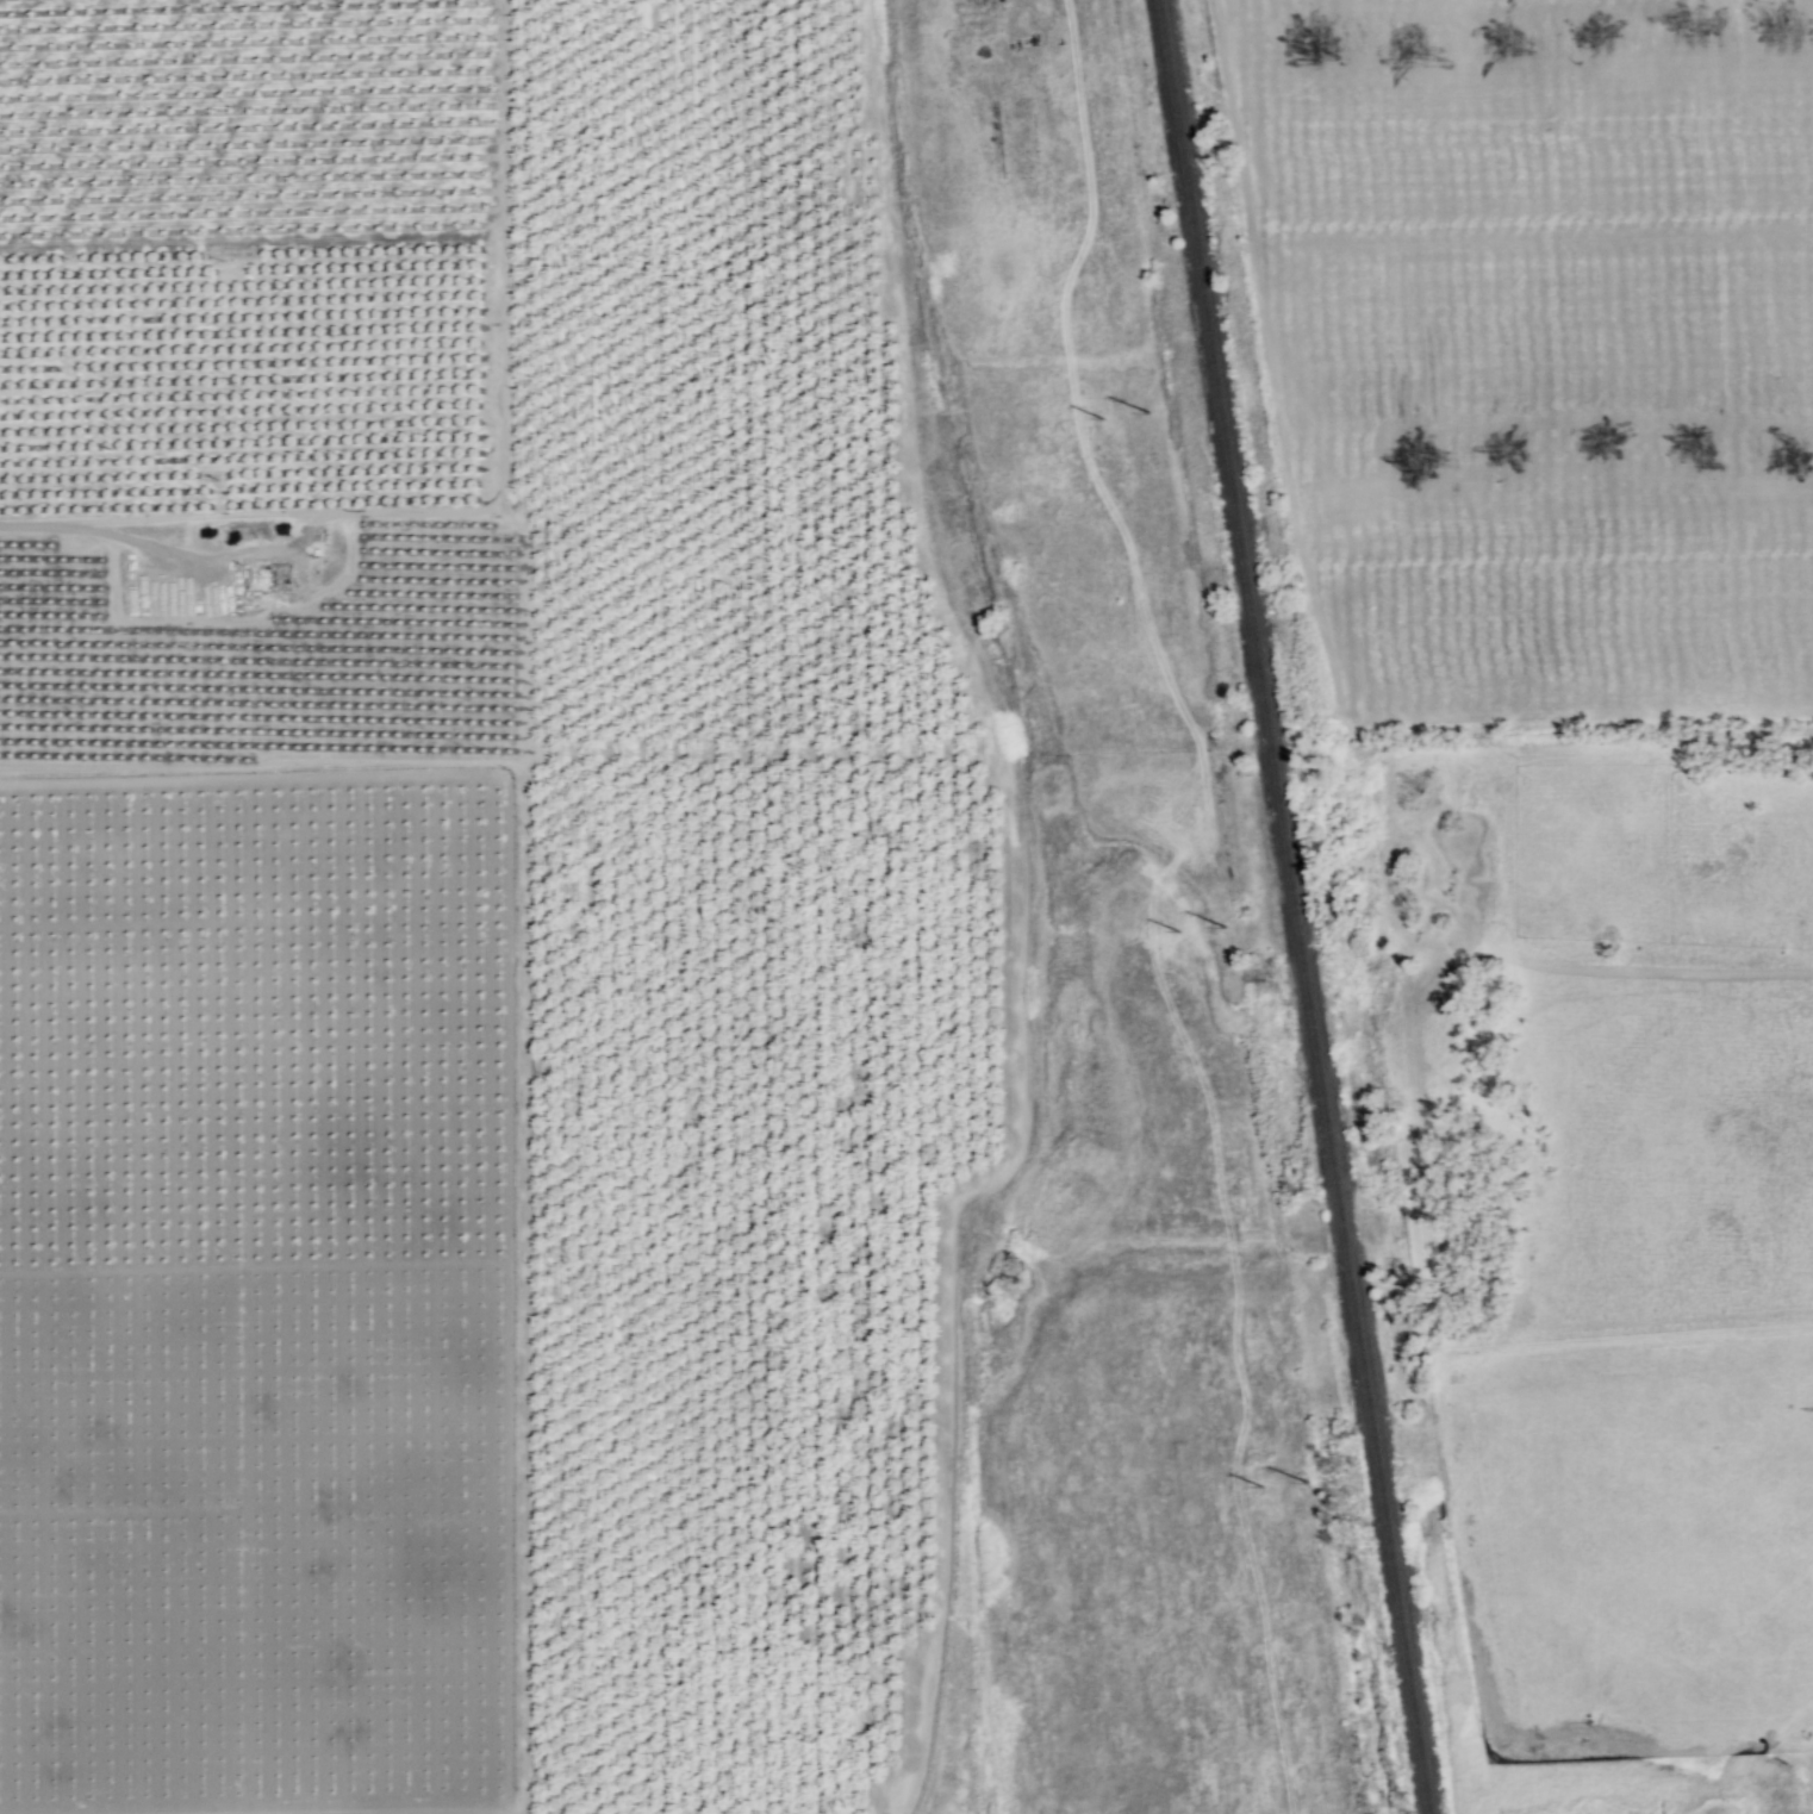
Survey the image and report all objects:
power tower: (1102, 404)
railway: (1301, 906)
power tower: (1183, 947)
power tower: (1260, 1471)

